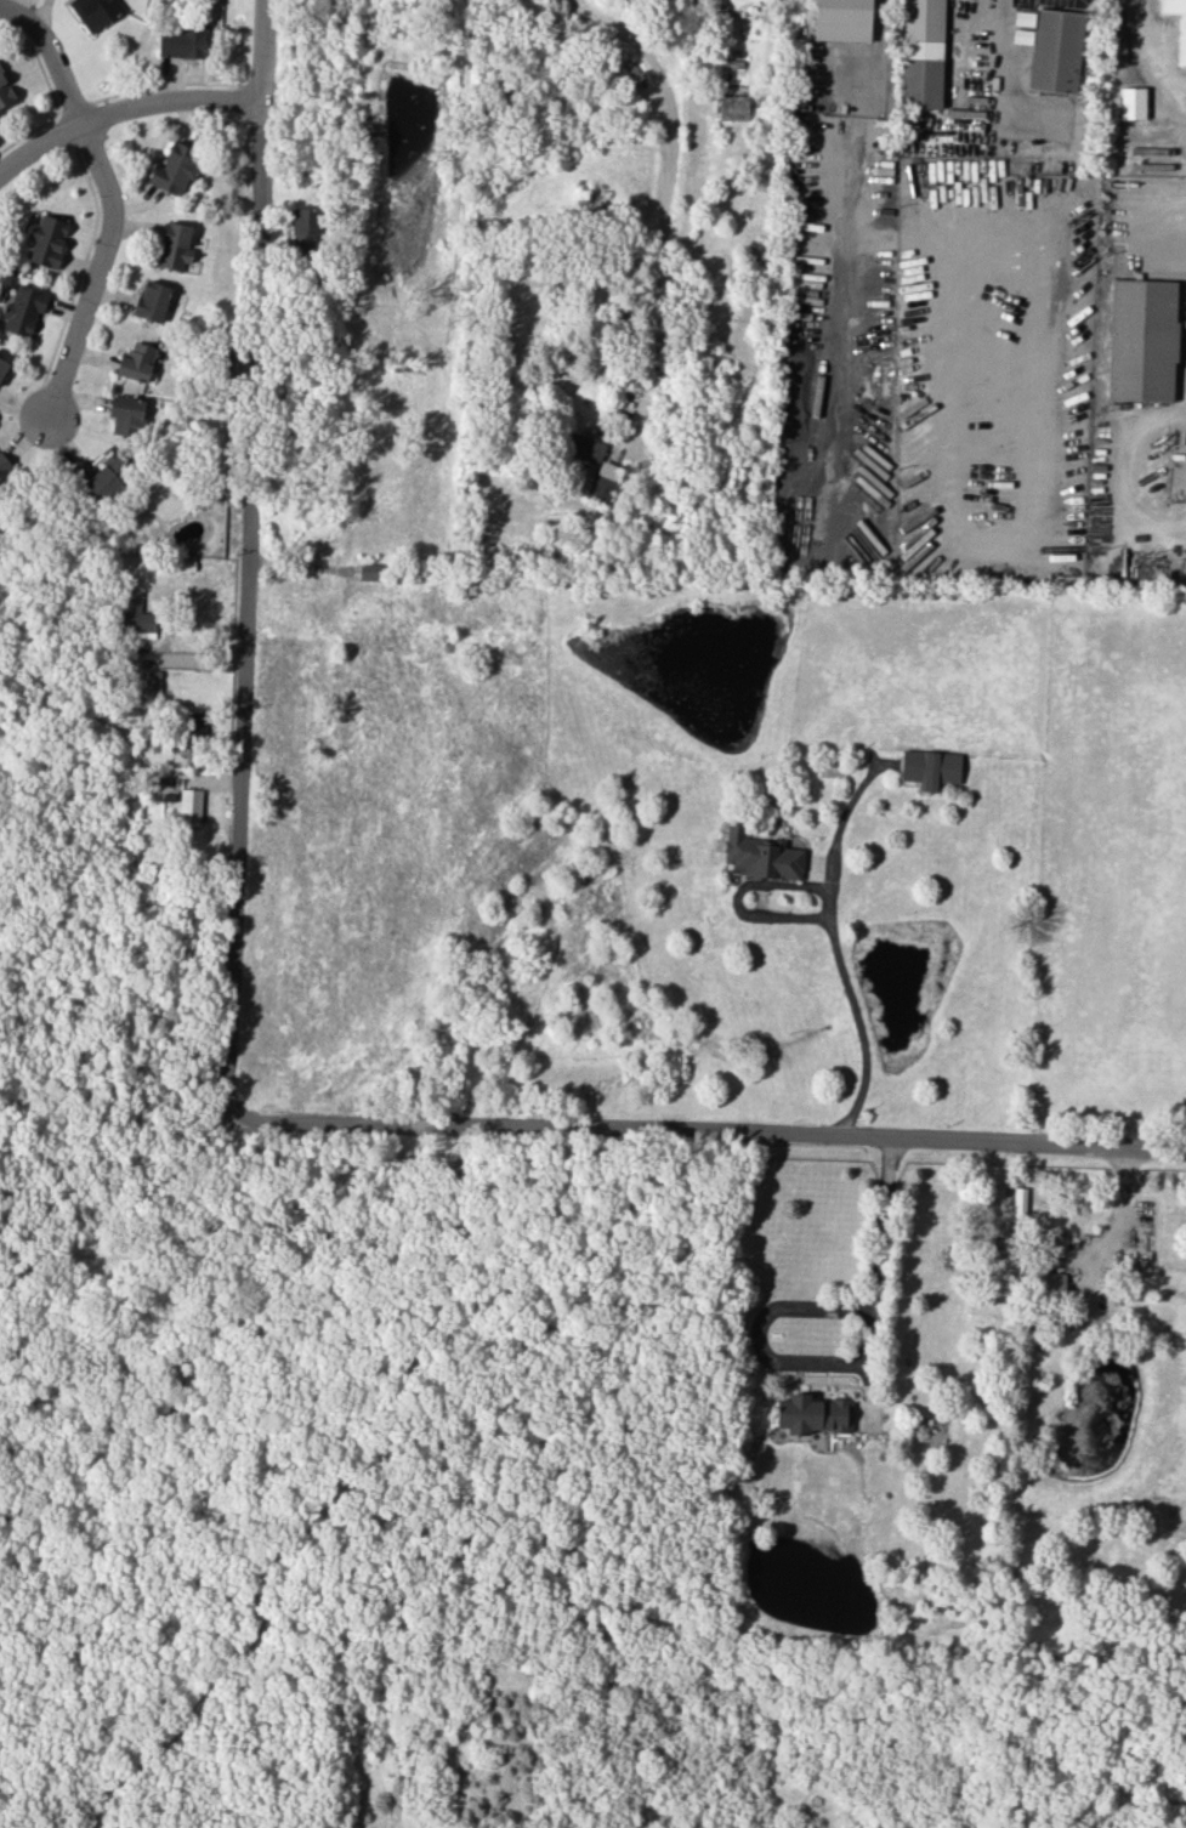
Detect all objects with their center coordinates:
building: (95, 11)
building: (841, 19)
building: (1181, 40)
building: (181, 41)
road: (1153, 46)
building: (1054, 51)
building: (920, 53)
building: (5, 91)
road: (68, 98)
road: (166, 101)
building: (1131, 102)
building: (732, 107)
road: (857, 163)
building: (175, 170)
road: (664, 189)
building: (303, 228)
building: (46, 240)
building: (174, 245)
road: (89, 285)
building: (153, 301)
building: (22, 310)
building: (1141, 340)
building: (136, 362)
building: (2, 365)
building: (125, 415)
building: (583, 447)
building: (2, 465)
road: (1119, 473)
building: (107, 476)
building: (602, 482)
building: (135, 619)
building: (194, 730)
building: (930, 768)
building: (189, 805)
building: (760, 856)
road: (832, 918)
road: (225, 1034)
road: (414, 1158)
road: (195, 1238)
building: (1052, 1239)
building: (1051, 1282)
road: (847, 1367)
building: (812, 1414)
park: (432, 1491)
road: (328, 1509)
road: (662, 1822)

